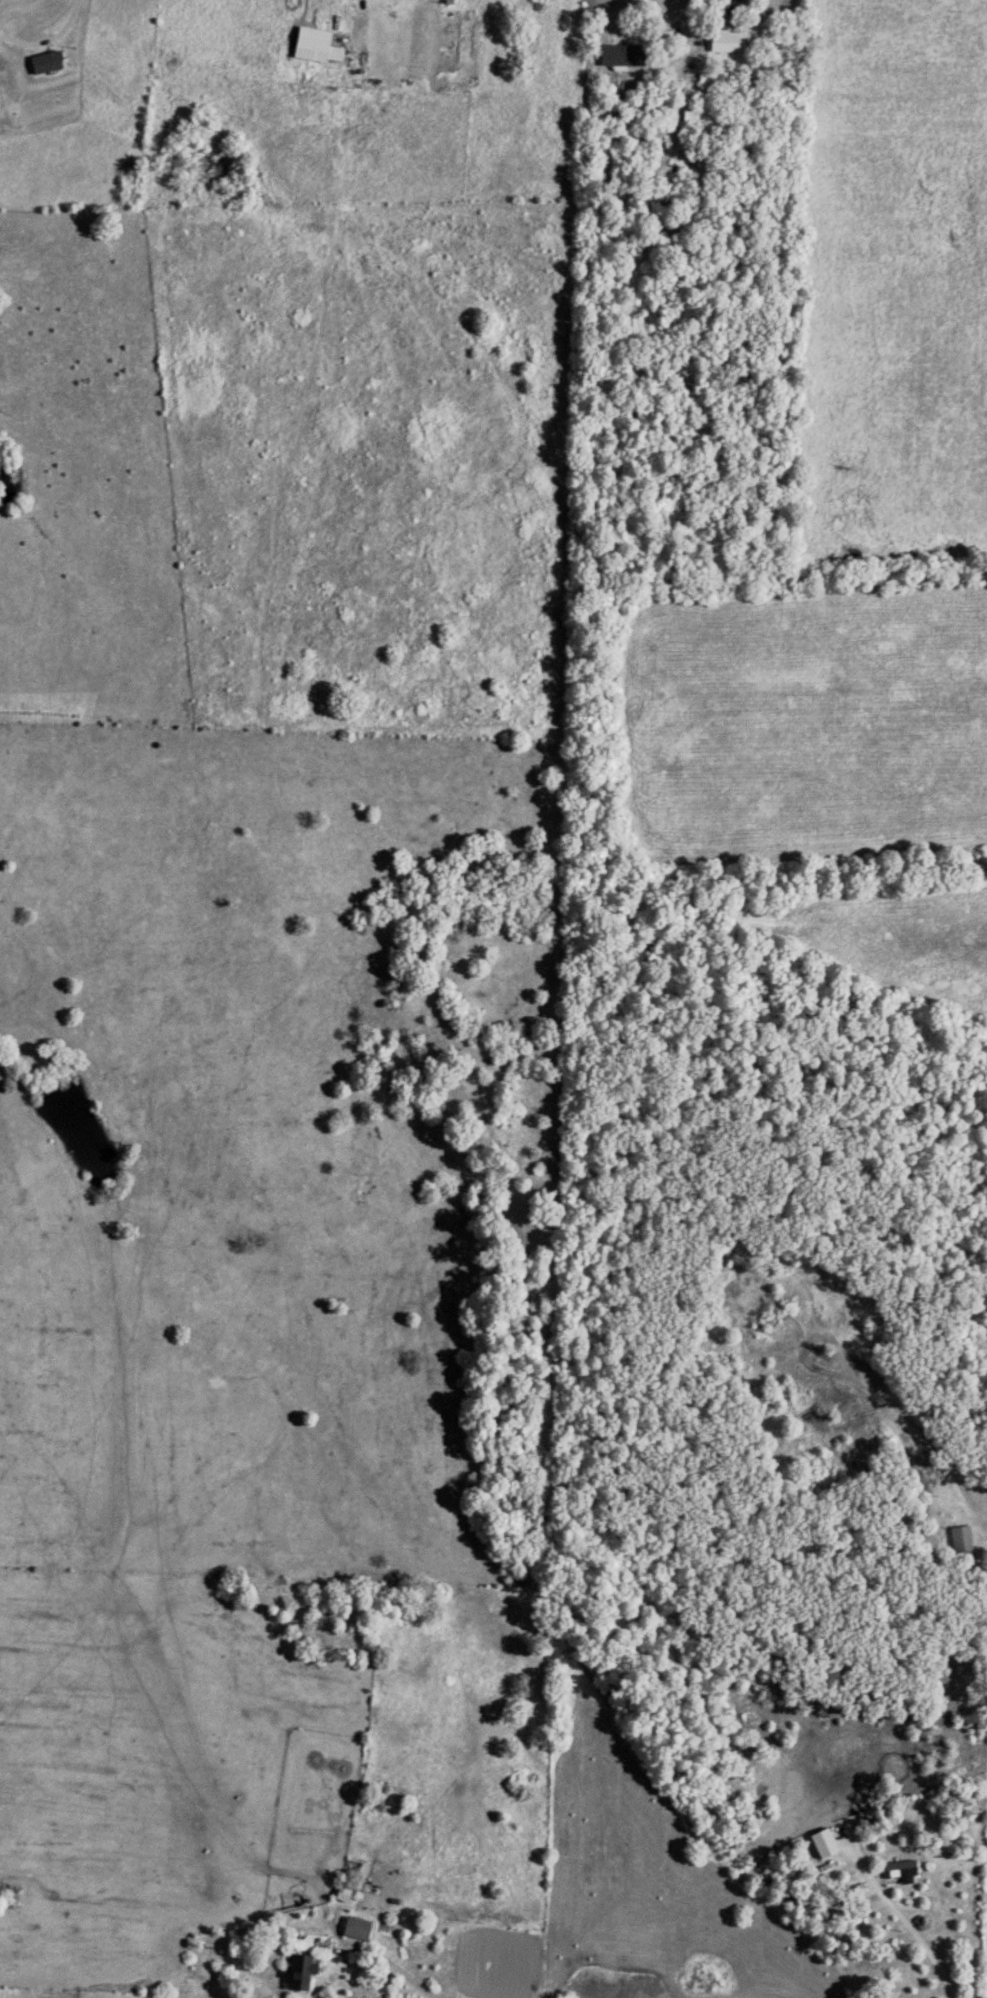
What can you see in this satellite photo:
road: (23, 8)
road: (358, 14)
road: (688, 30)
building: (725, 42)
building: (314, 48)
building: (619, 56)
building: (959, 1541)
building: (897, 1870)
building: (354, 1930)
road: (934, 1955)
building: (300, 1973)

